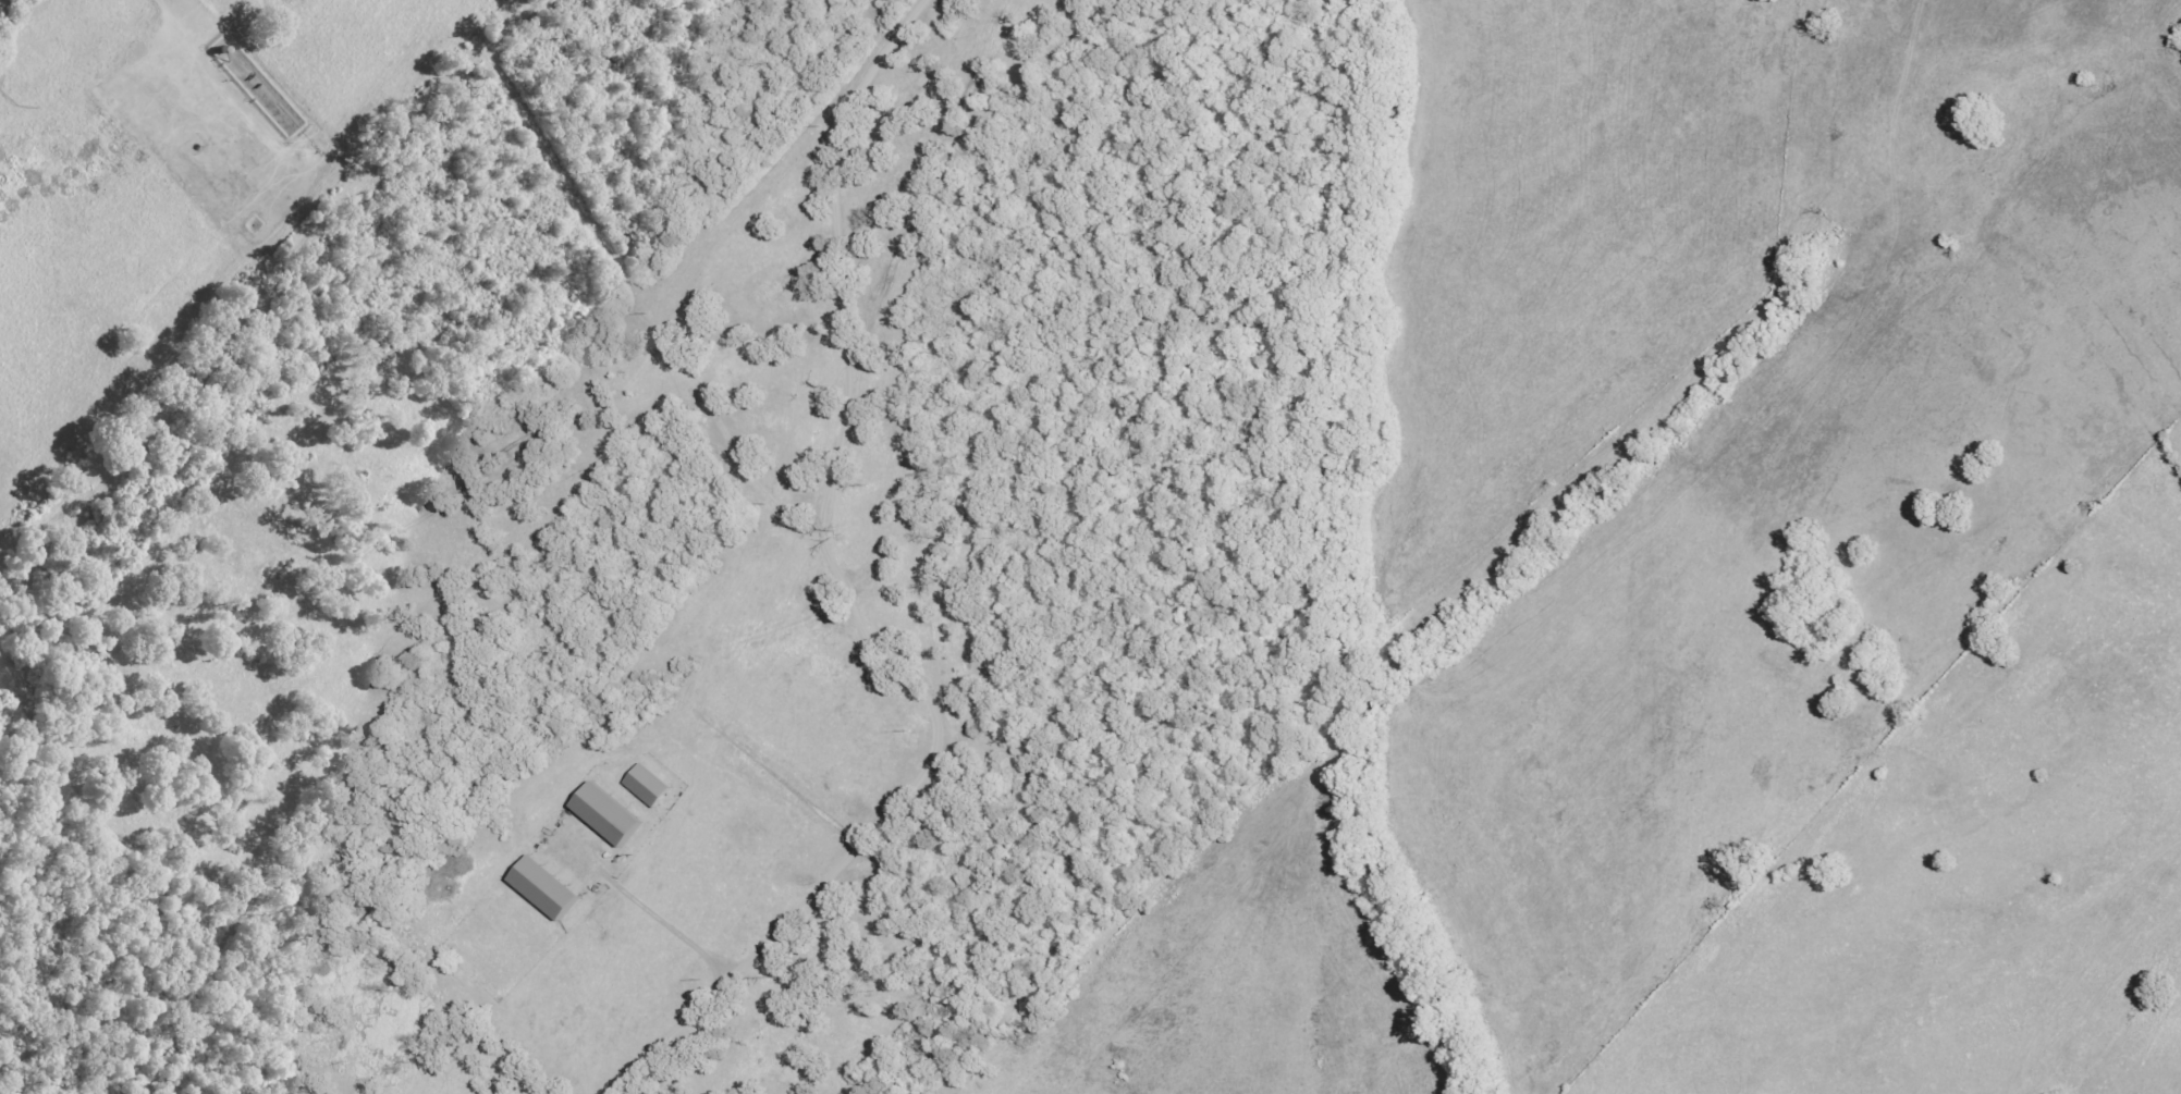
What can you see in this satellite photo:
road: (887, 604)
building: (651, 787)
building: (611, 815)
building: (549, 889)

